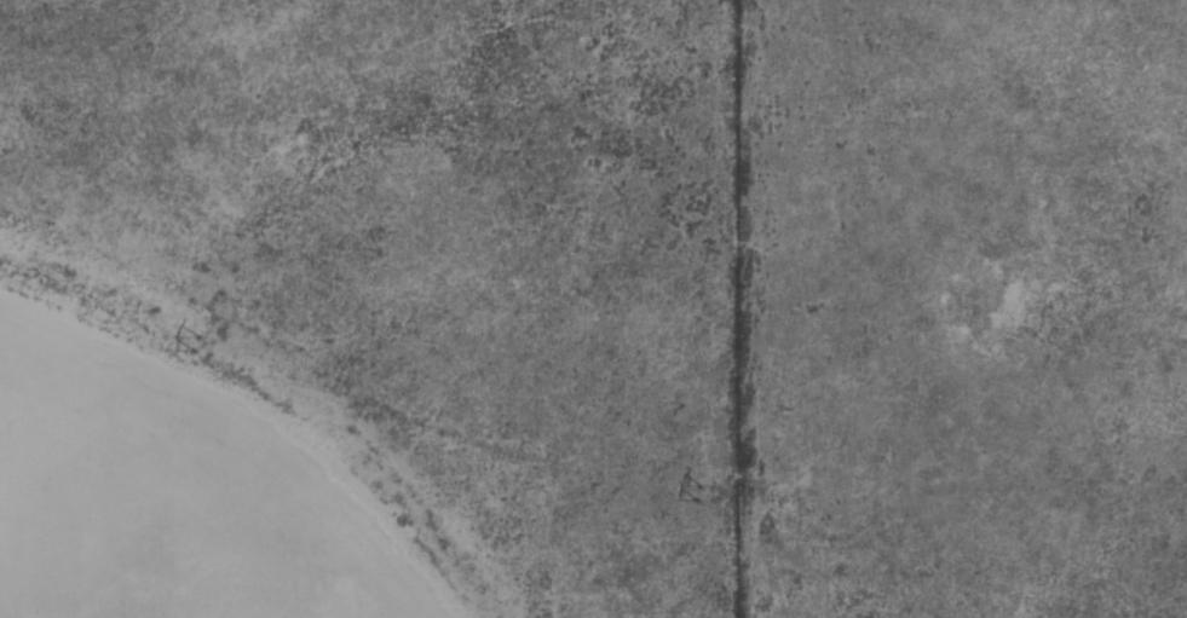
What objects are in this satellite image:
power tower: (192, 342)
power tower: (697, 491)

